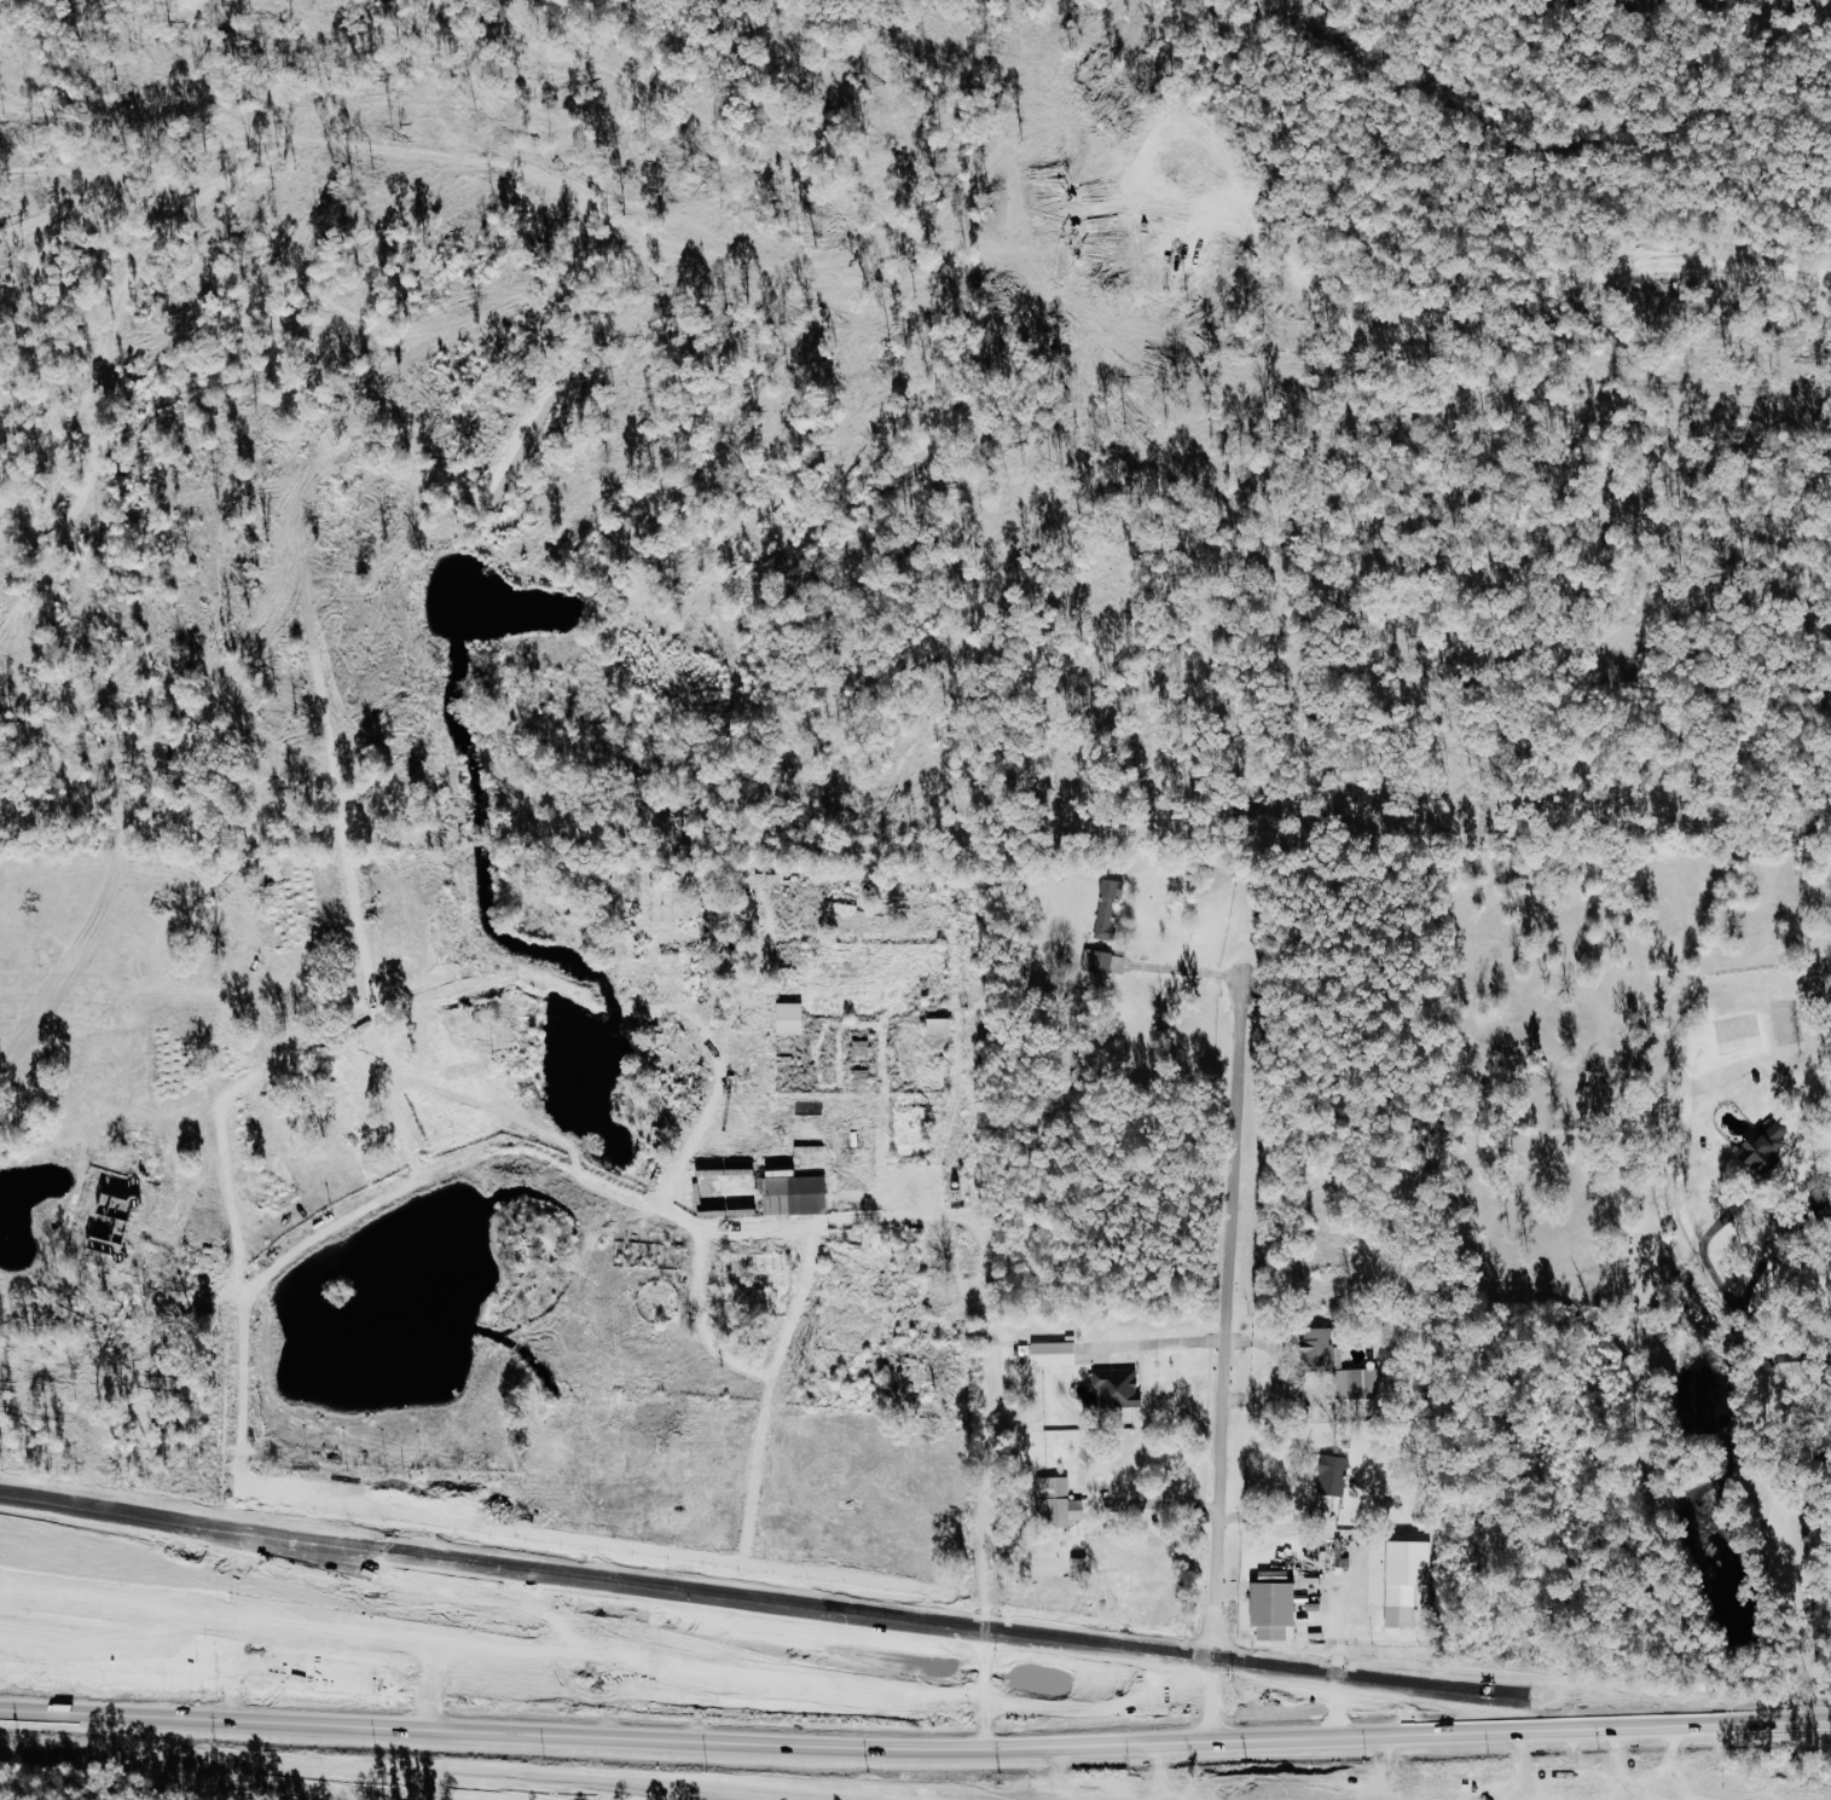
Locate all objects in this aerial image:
building: (1109, 907)
building: (1105, 961)
building: (793, 1018)
building: (941, 1025)
building: (1769, 1147)
road: (581, 1168)
building: (118, 1216)
building: (875, 1239)
building: (144, 1291)
road: (1226, 1315)
road: (1155, 1341)
building: (1056, 1352)
building: (1342, 1365)
building: (1122, 1385)
road: (1779, 1448)
road: (1801, 1469)
building: (1333, 1483)
building: (1060, 1503)
road: (1165, 1503)
park: (1821, 1576)
road: (610, 1585)
building: (470, 1604)
building: (1403, 1604)
building: (1277, 1609)
road: (1335, 1626)
road: (695, 1651)
road: (1526, 1697)
road: (912, 1714)
road: (589, 1725)
road: (430, 1738)
road: (249, 1766)

